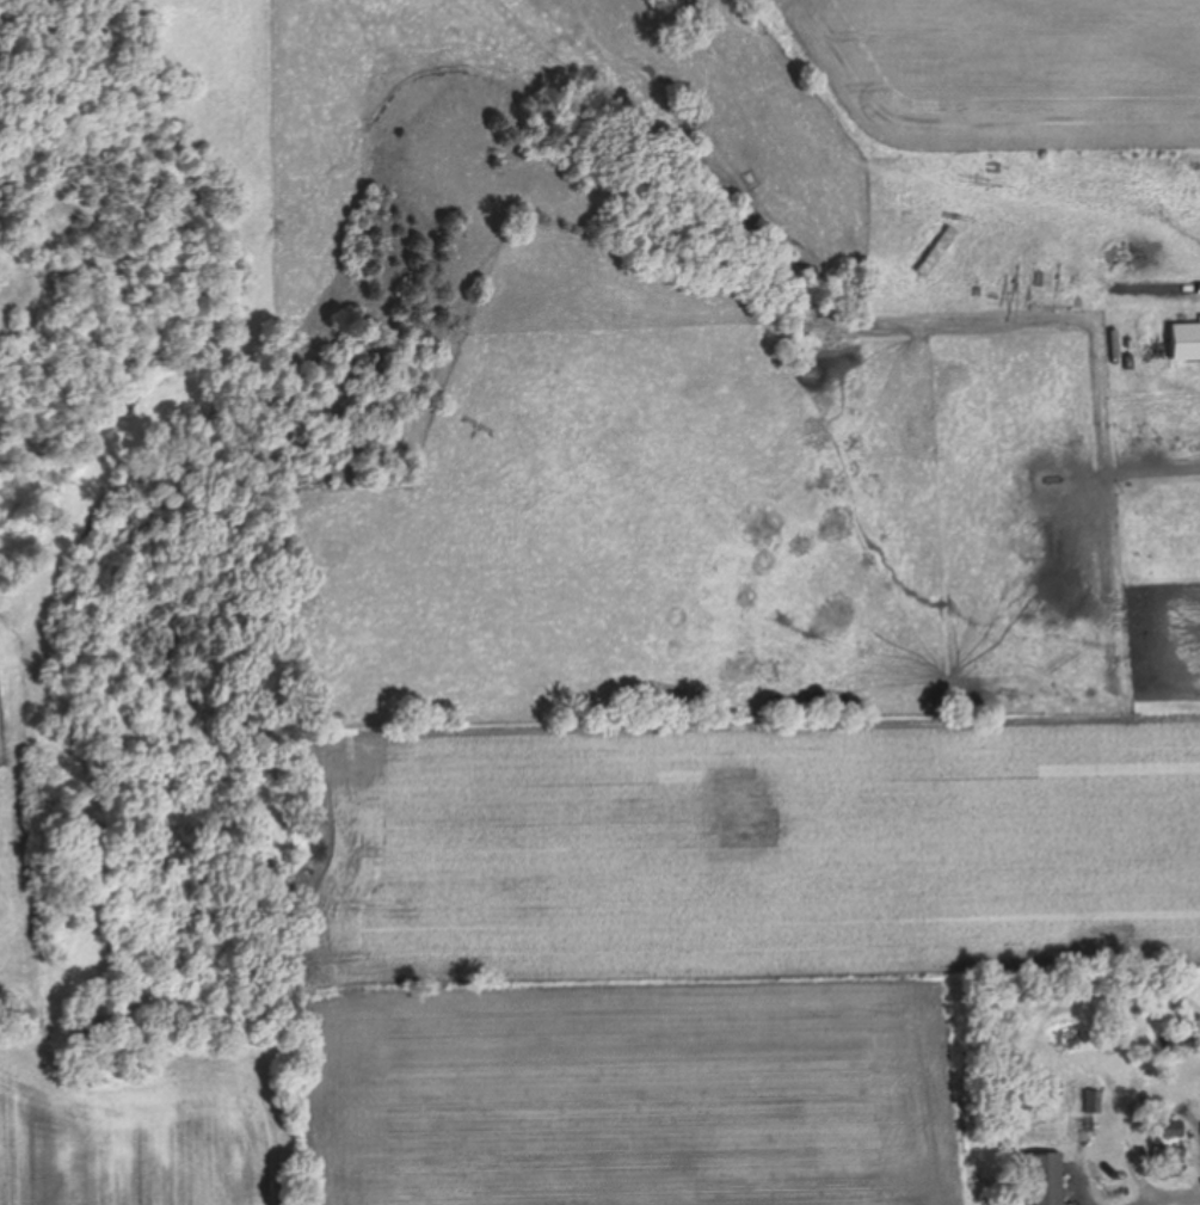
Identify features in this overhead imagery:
building: (1184, 340)
building: (1051, 1088)
building: (1090, 1100)
building: (1174, 1135)
building: (1044, 1178)
road: (1169, 1197)

